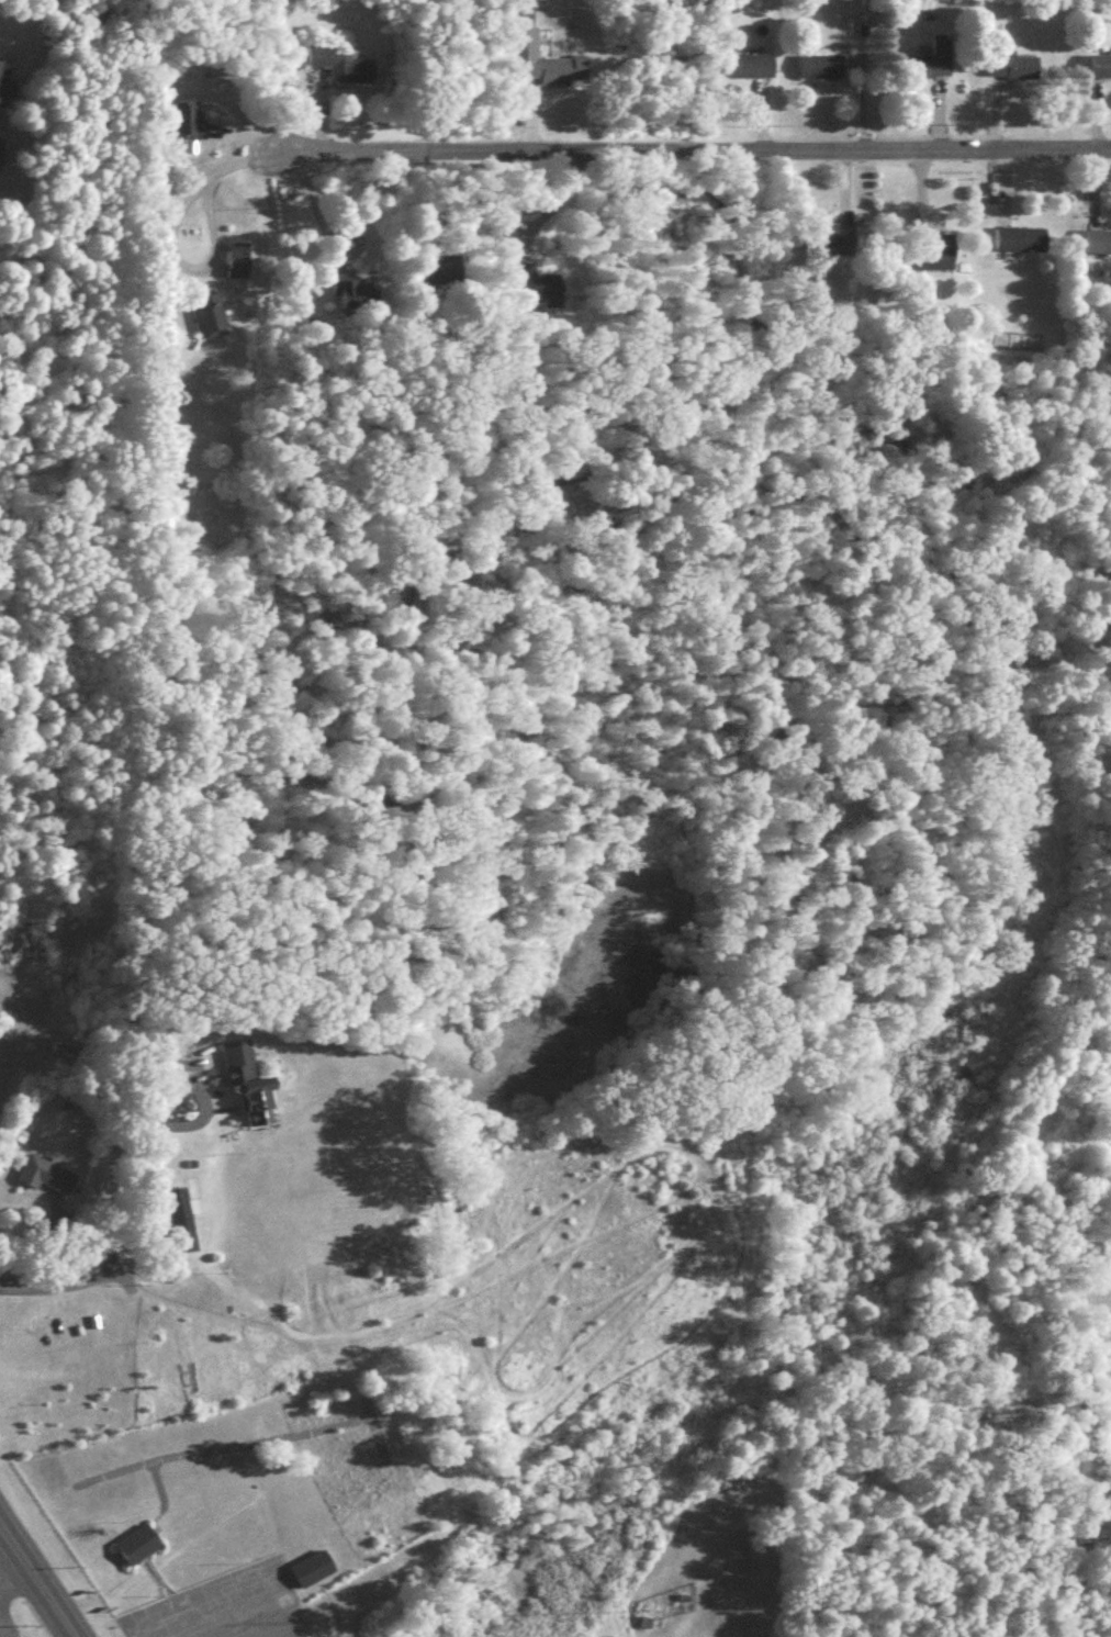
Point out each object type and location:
building: (930, 67)
building: (341, 71)
building: (748, 71)
building: (822, 71)
building: (1014, 71)
building: (1099, 71)
building: (549, 75)
building: (186, 126)
road: (677, 150)
building: (838, 232)
road: (325, 233)
building: (1021, 245)
building: (1097, 248)
road: (168, 256)
building: (934, 258)
building: (237, 265)
building: (534, 293)
building: (306, 294)
building: (346, 296)
building: (211, 319)
building: (250, 1091)
road: (173, 1129)
building: (47, 1178)
building: (183, 1225)
road: (71, 1286)
building: (139, 1550)
road: (11, 1572)
building: (313, 1574)
road: (34, 1583)

